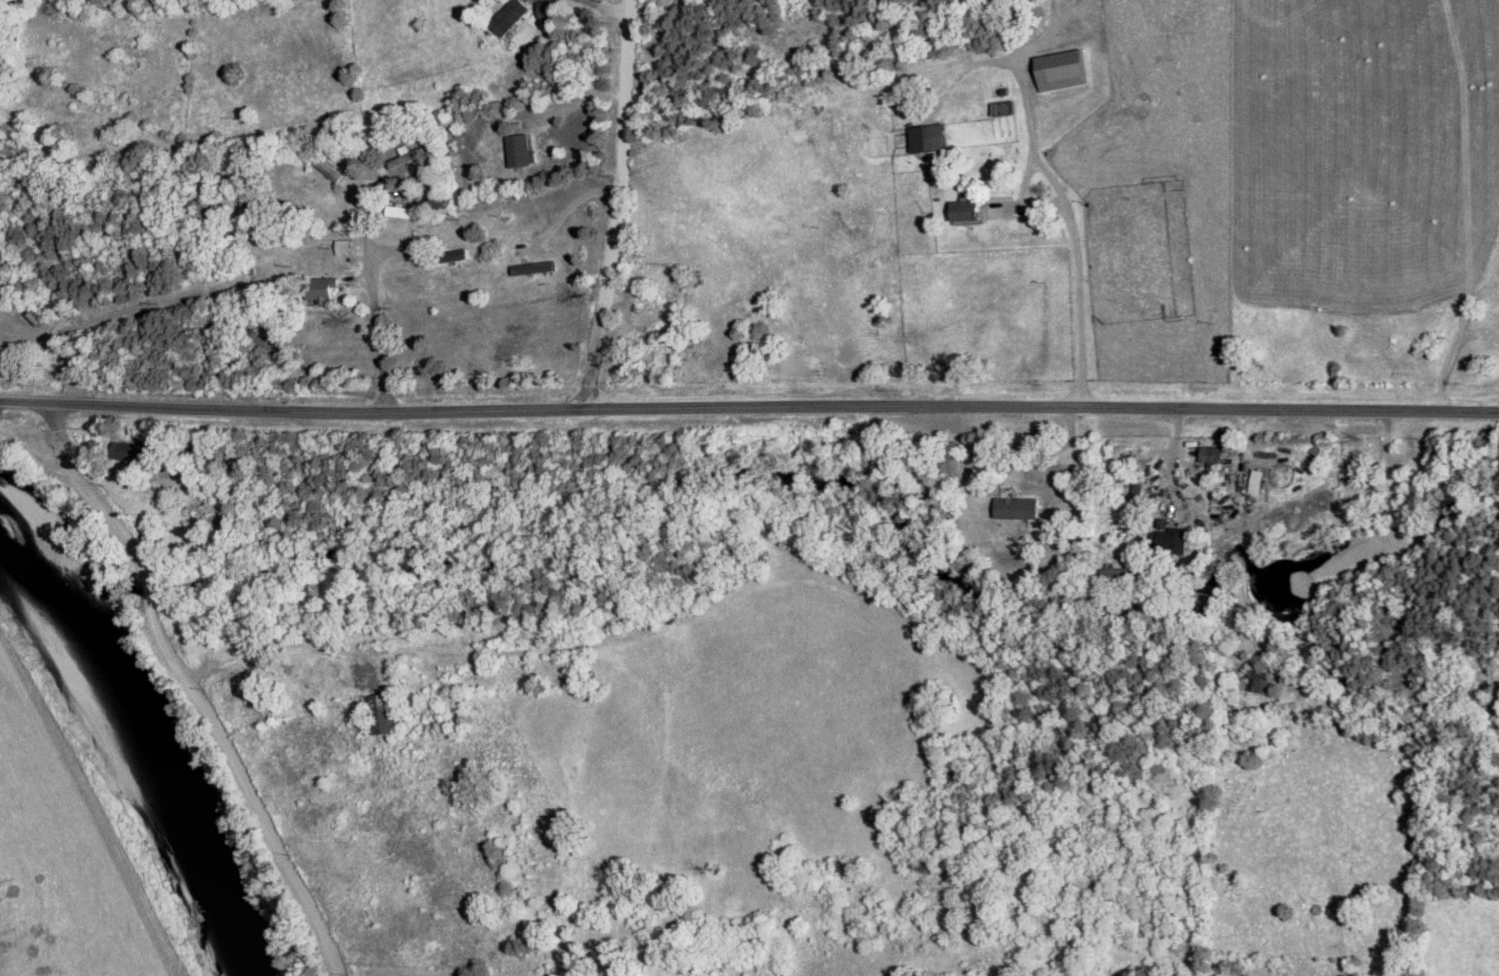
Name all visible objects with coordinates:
building: (505, 17)
building: (1058, 70)
road: (581, 99)
building: (925, 138)
building: (516, 150)
road: (362, 202)
road: (617, 204)
building: (962, 210)
building: (396, 211)
road: (1069, 231)
building: (448, 256)
building: (530, 268)
building: (319, 290)
road: (749, 406)
road: (1041, 447)
building: (1254, 482)
building: (1014, 508)
building: (1171, 541)
road: (220, 684)
building: (1256, 684)
building: (381, 714)
river: (143, 722)

